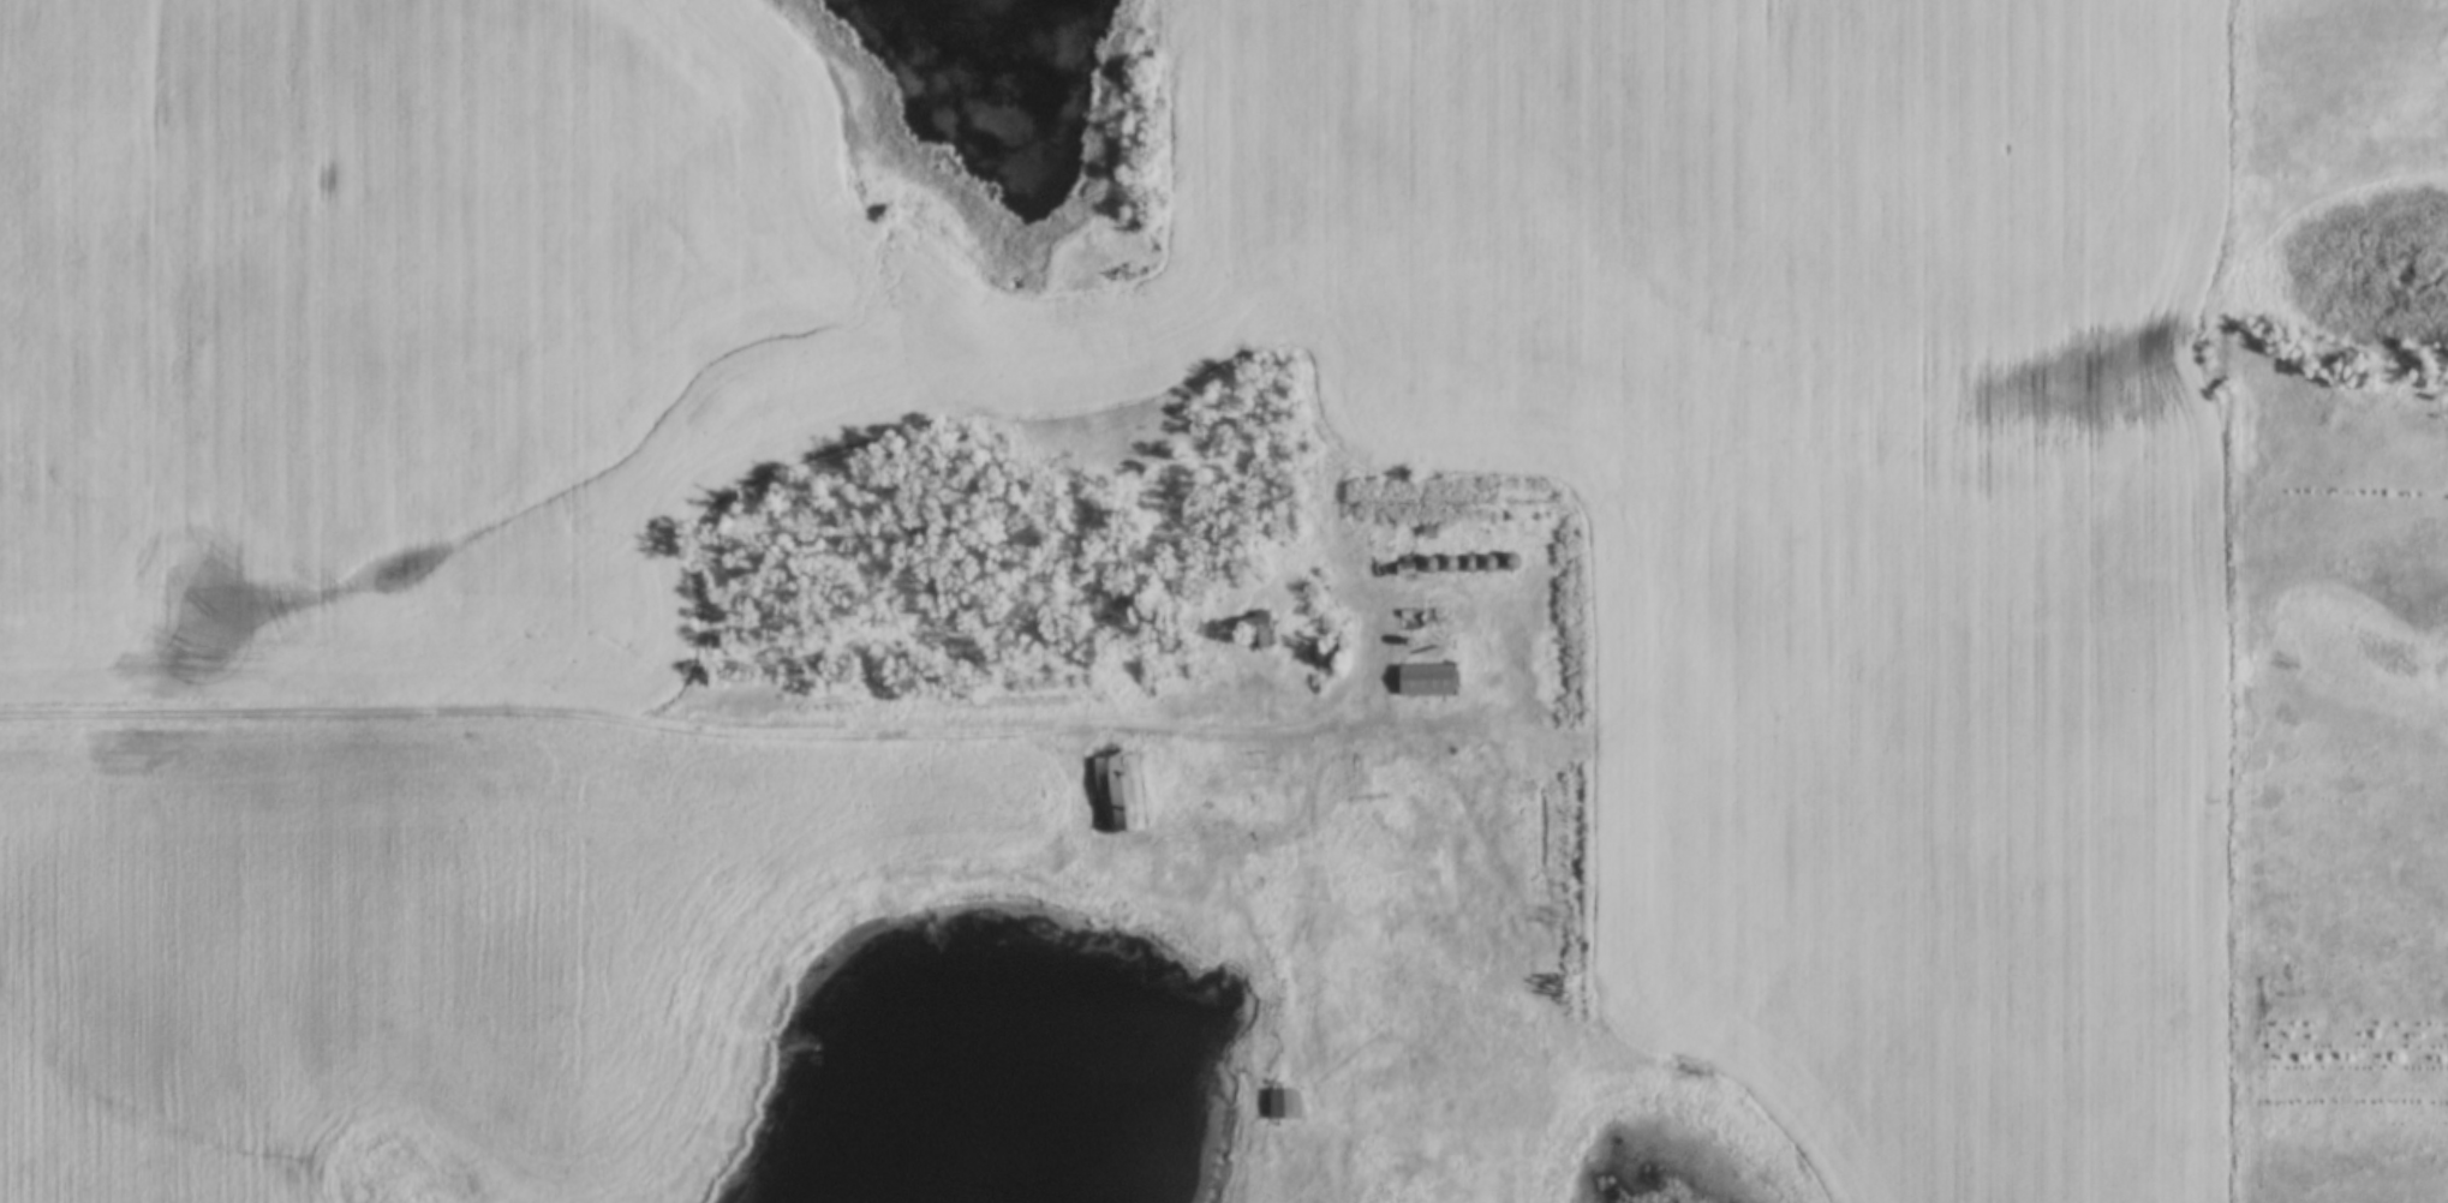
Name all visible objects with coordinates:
building: (1407, 568)
building: (1271, 630)
building: (1428, 680)
road: (751, 729)
building: (1112, 791)
building: (1285, 1103)

